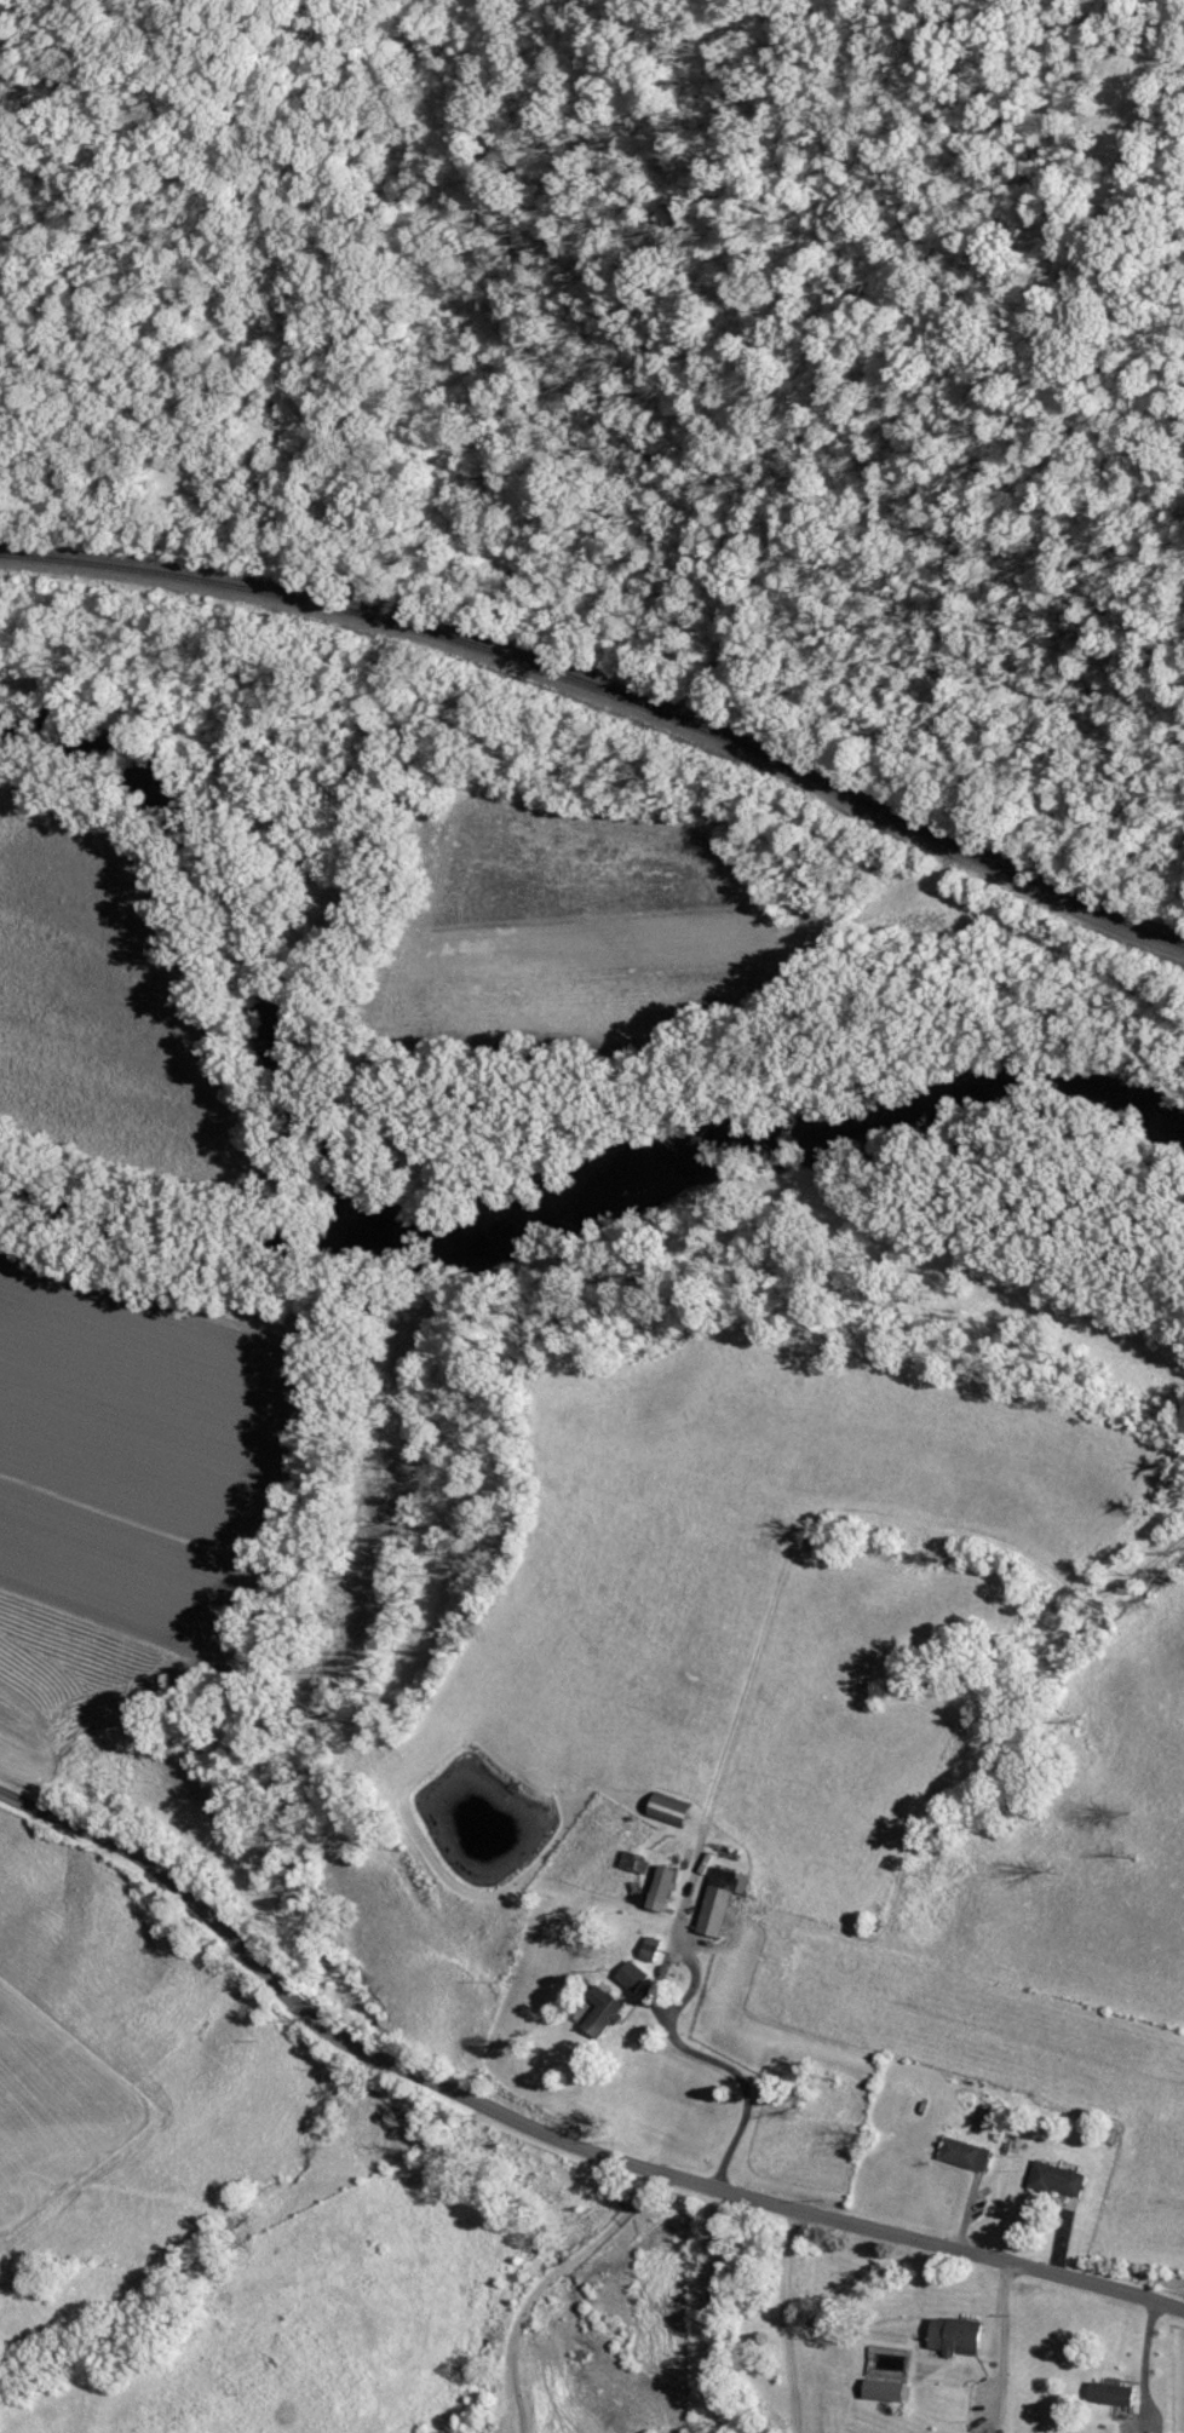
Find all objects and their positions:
railway: (609, 735)
building: (639, 1860)
building: (667, 1887)
building: (724, 1899)
building: (654, 1948)
building: (636, 1974)
building: (605, 2011)
road: (725, 2069)
road: (550, 2135)
building: (970, 2153)
building: (1061, 2179)
road: (542, 2283)
road: (786, 2320)
road: (1004, 2331)
building: (961, 2335)
road: (1142, 2360)
building: (891, 2391)
building: (1116, 2393)

